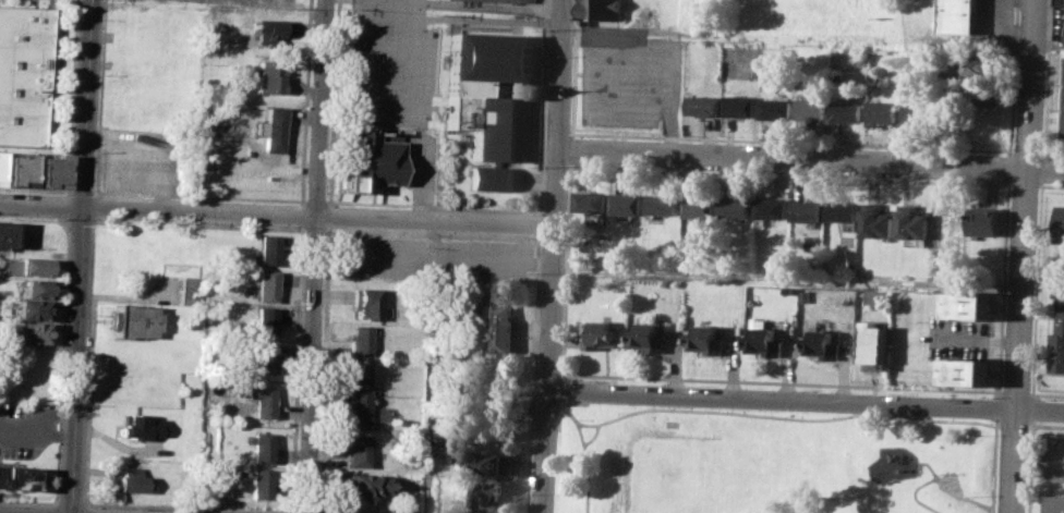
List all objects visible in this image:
parking lot: (253, 1)
building: (498, 1)
building: (1059, 1)
parking lot: (0, 2)
building: (601, 10)
building: (957, 15)
road: (487, 19)
parking lot: (992, 25)
building: (269, 30)
road: (652, 34)
parking lot: (391, 63)
building: (969, 63)
building: (766, 69)
building: (23, 74)
building: (269, 76)
road: (1011, 76)
road: (1044, 77)
building: (977, 95)
road: (100, 96)
road: (72, 97)
road: (392, 100)
road: (306, 101)
road: (335, 101)
building: (492, 102)
building: (737, 105)
road: (543, 106)
building: (702, 106)
building: (773, 108)
building: (809, 108)
building: (1063, 109)
building: (844, 111)
building: (880, 111)
building: (918, 114)
building: (271, 122)
road: (569, 134)
road: (724, 138)
road: (569, 149)
road: (1024, 150)
road: (1050, 152)
parking lot: (419, 157)
building: (368, 160)
road: (810, 160)
building: (0, 166)
road: (1007, 166)
building: (20, 168)
road: (1041, 168)
building: (52, 170)
road: (789, 174)
road: (424, 182)
road: (1024, 184)
road: (1038, 184)
road: (1052, 185)
road: (36, 190)
road: (83, 192)
road: (201, 196)
road: (317, 200)
building: (590, 200)
building: (626, 203)
building: (662, 205)
road: (433, 206)
building: (698, 207)
building: (733, 207)
road: (65, 208)
building: (769, 208)
building: (806, 210)
building: (841, 210)
building: (947, 213)
road: (276, 215)
road: (303, 215)
road: (330, 215)
building: (875, 220)
road: (80, 222)
building: (910, 222)
building: (983, 222)
building: (1061, 223)
road: (63, 224)
road: (201, 224)
road: (540, 224)
road: (316, 230)
building: (4, 233)
road: (432, 234)
building: (268, 249)
road: (82, 256)
road: (316, 256)
road: (552, 256)
road: (1024, 256)
building: (27, 266)
building: (849, 267)
road: (786, 278)
building: (266, 284)
building: (36, 288)
road: (1002, 288)
road: (1036, 289)
building: (188, 290)
building: (802, 295)
building: (873, 295)
road: (134, 297)
building: (366, 302)
building: (968, 304)
building: (32, 308)
building: (132, 320)
building: (265, 322)
building: (1059, 325)
building: (501, 326)
building: (28, 331)
road: (63, 331)
building: (601, 334)
building: (648, 337)
building: (360, 339)
building: (705, 340)
building: (763, 342)
building: (820, 344)
building: (873, 344)
building: (264, 357)
road: (428, 367)
road: (297, 369)
road: (324, 369)
building: (966, 371)
road: (533, 374)
road: (563, 378)
road: (676, 378)
road: (561, 391)
road: (1015, 391)
building: (356, 392)
road: (1030, 393)
road: (1048, 393)
road: (89, 398)
road: (805, 400)
building: (263, 401)
road: (1032, 407)
road: (1000, 408)
road: (725, 413)
road: (935, 420)
road: (588, 424)
road: (1049, 425)
building: (137, 427)
road: (38, 428)
parking lot: (24, 429)
building: (261, 447)
building: (354, 451)
road: (584, 453)
parking lot: (1052, 457)
road: (1056, 459)
park: (770, 462)
building: (489, 463)
road: (1031, 466)
road: (931, 467)
road: (999, 468)
park: (674, 473)
building: (15, 478)
building: (128, 479)
building: (259, 483)
building: (356, 484)
building: (489, 492)
road: (966, 496)
road: (918, 497)
road: (29, 502)
road: (72, 502)
building: (1055, 503)
road: (84, 508)
road: (189, 508)
road: (56, 509)
road: (996, 511)
road: (300, 512)

